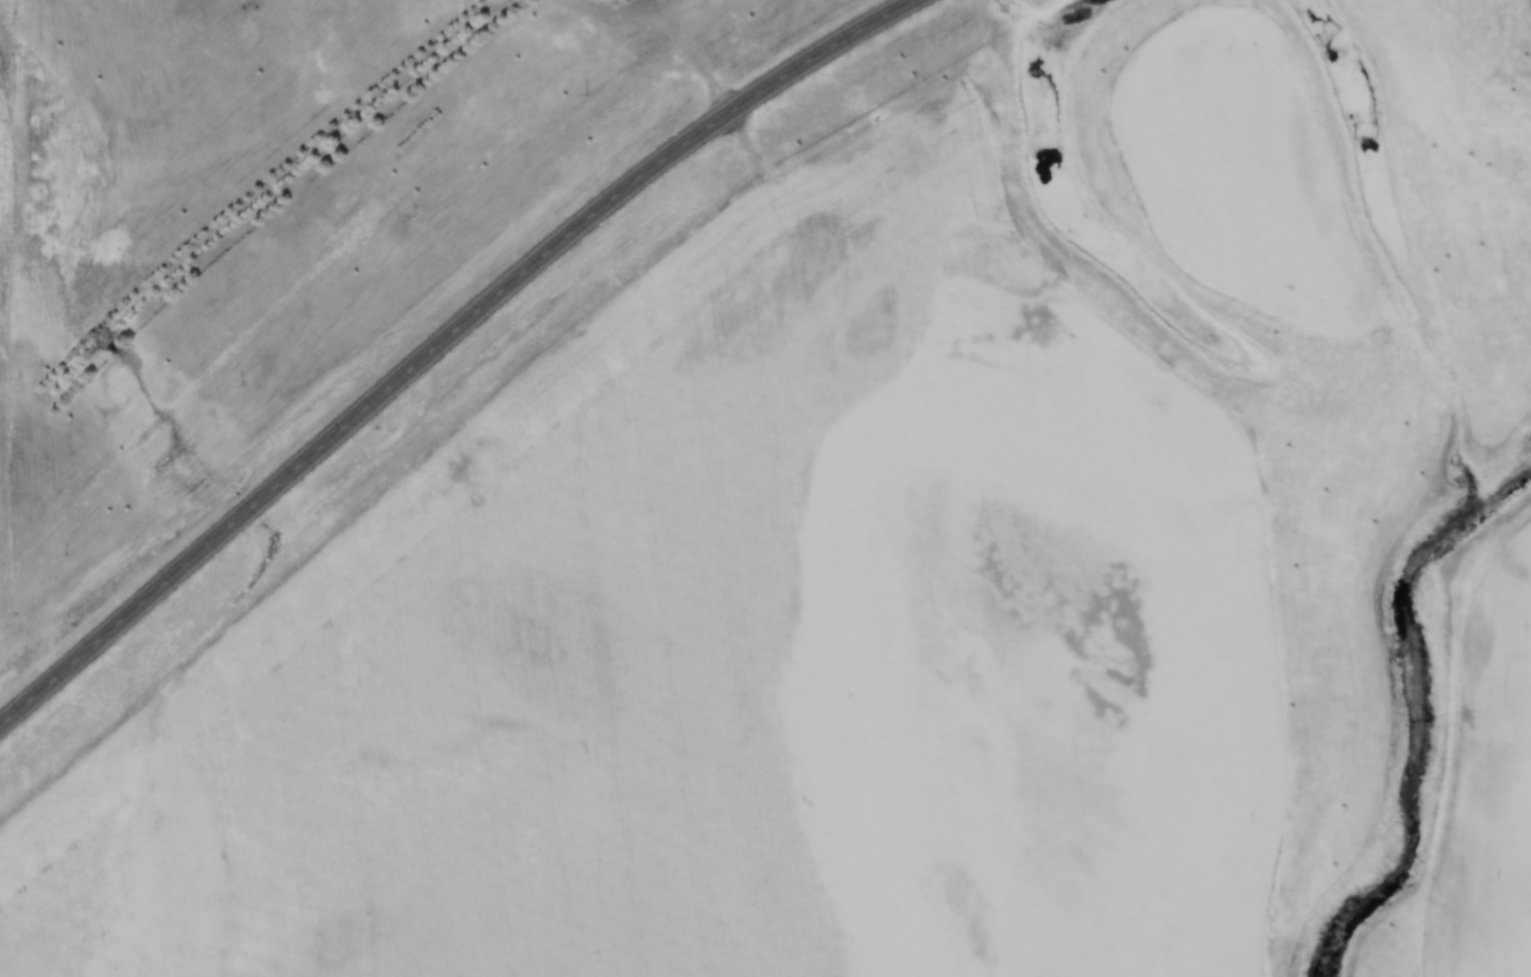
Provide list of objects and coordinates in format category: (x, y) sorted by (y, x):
building: (624, 0)
road: (683, 43)
road: (440, 342)
road: (840, 534)
road: (1475, 760)

